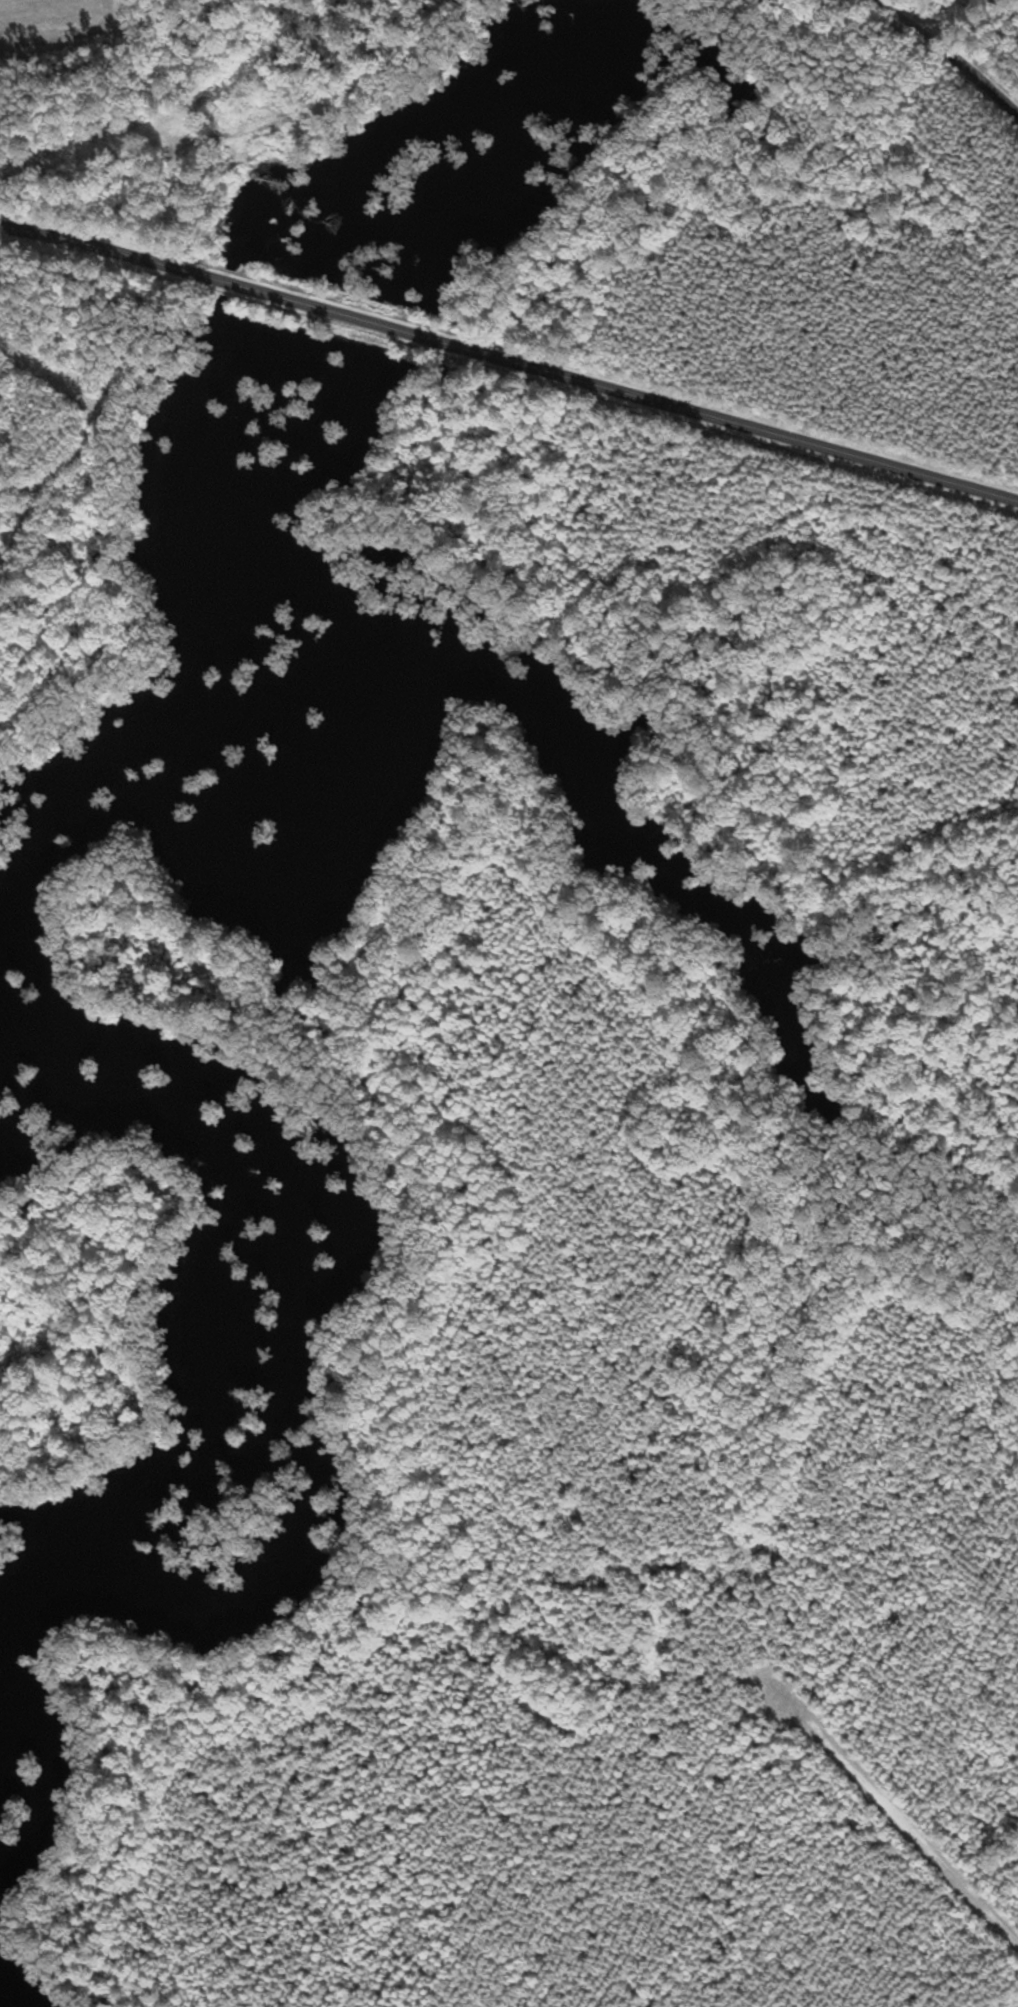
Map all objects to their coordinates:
road: (952, 53)
road: (73, 245)
road: (311, 304)
road: (747, 427)
road: (898, 1807)

